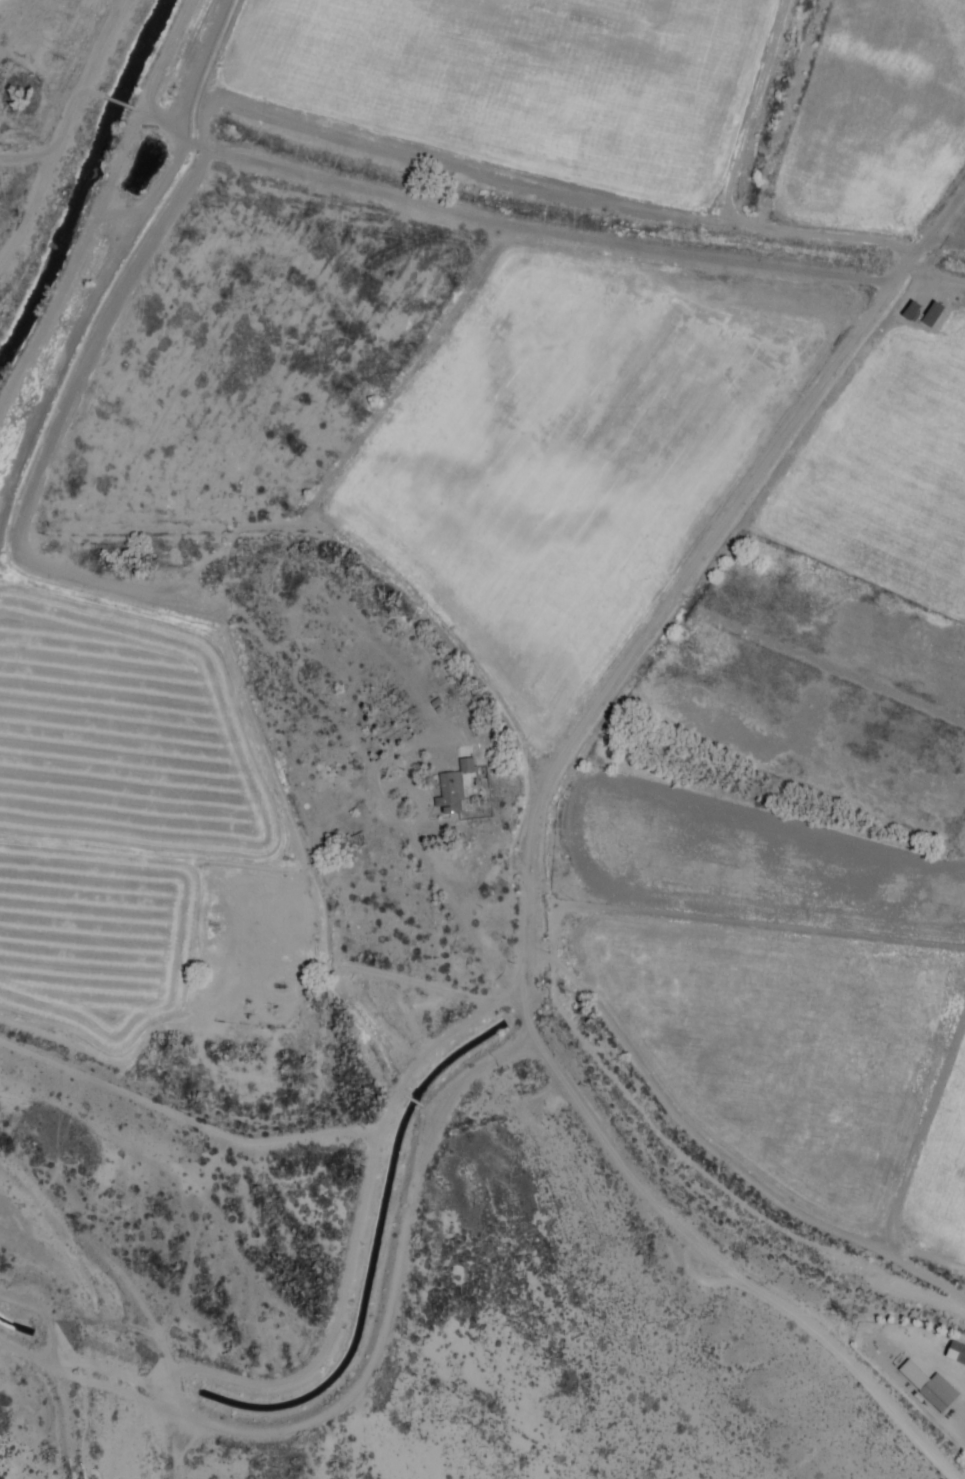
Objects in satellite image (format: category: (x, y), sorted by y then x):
road: (64, 132)
road: (29, 154)
building: (909, 310)
building: (929, 313)
building: (452, 787)
road: (662, 1203)
building: (955, 1351)
building: (928, 1386)

